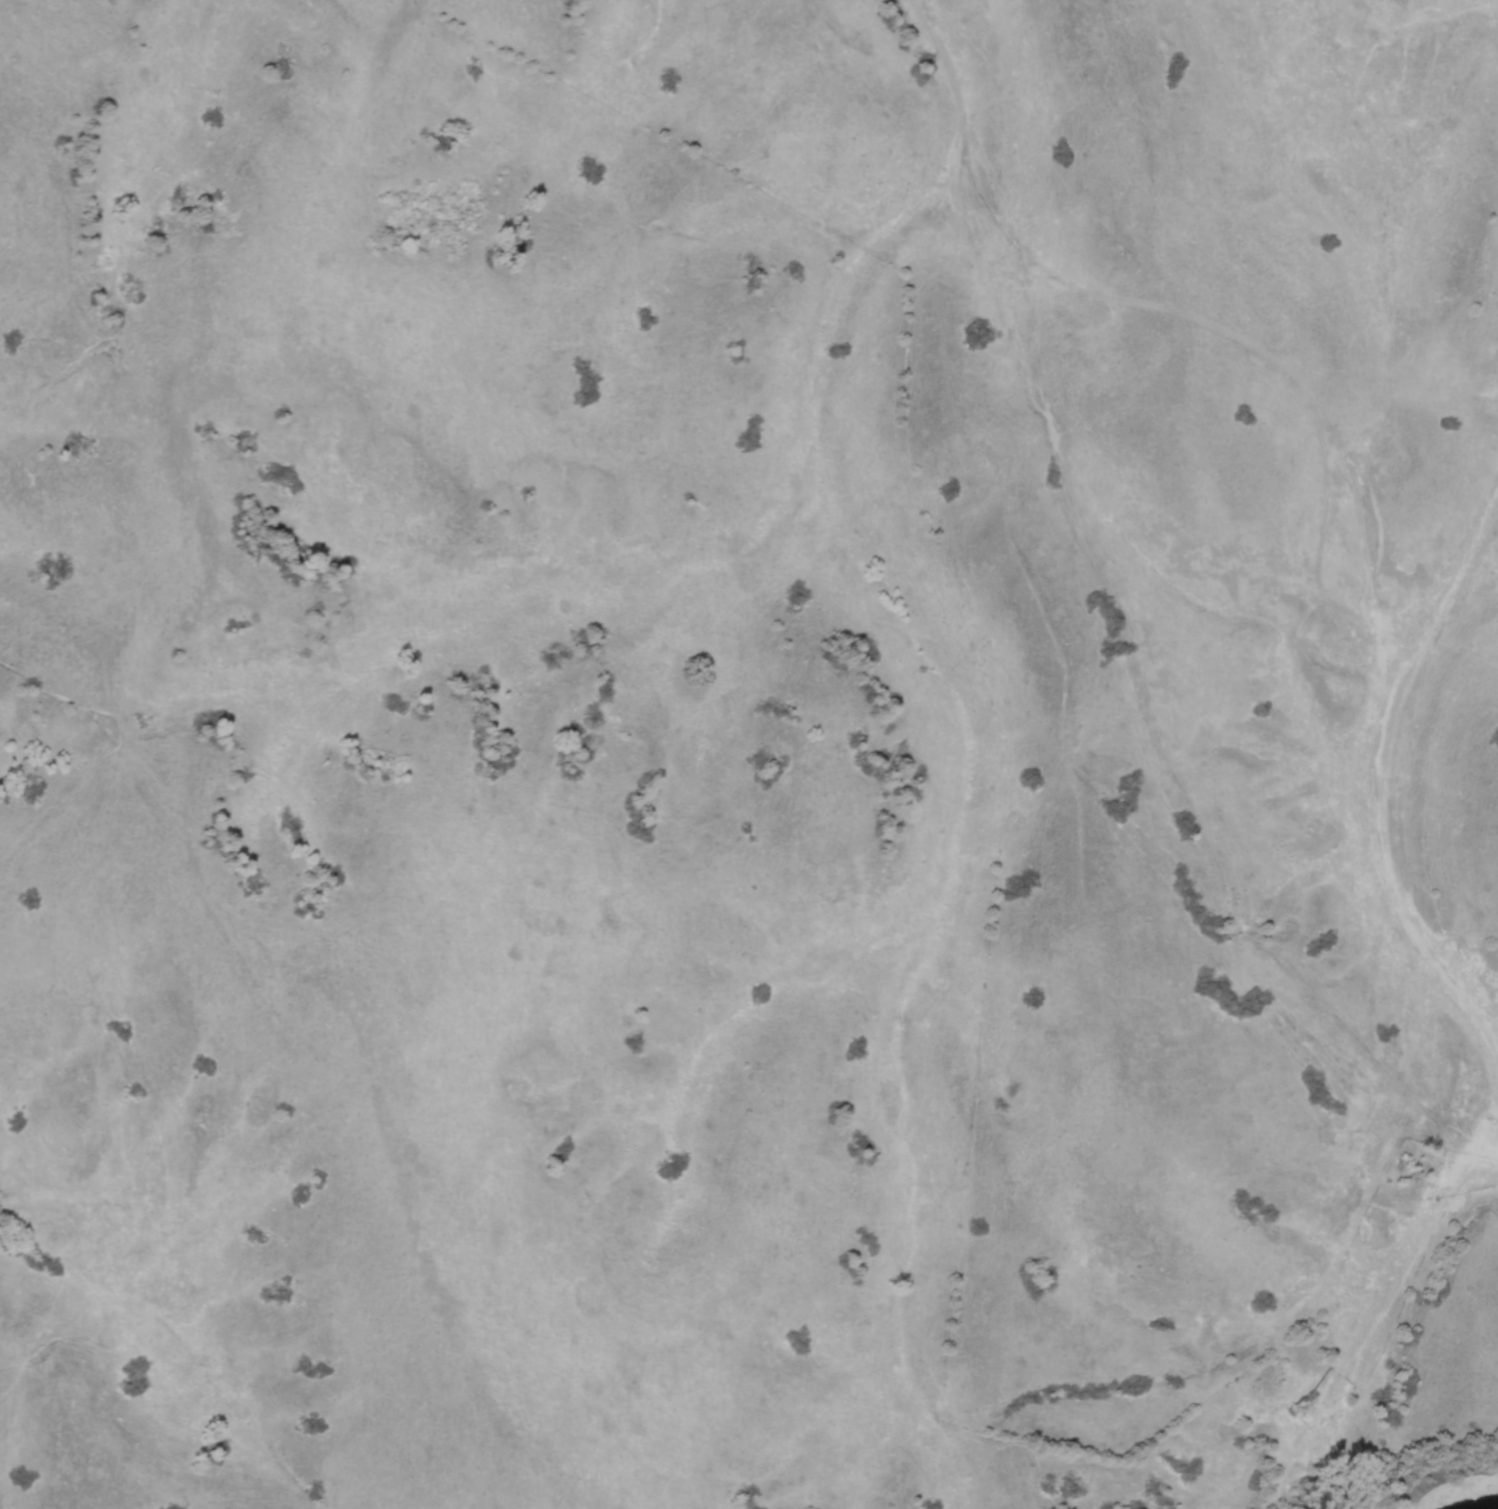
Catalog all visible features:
building: (1293, 1407)

